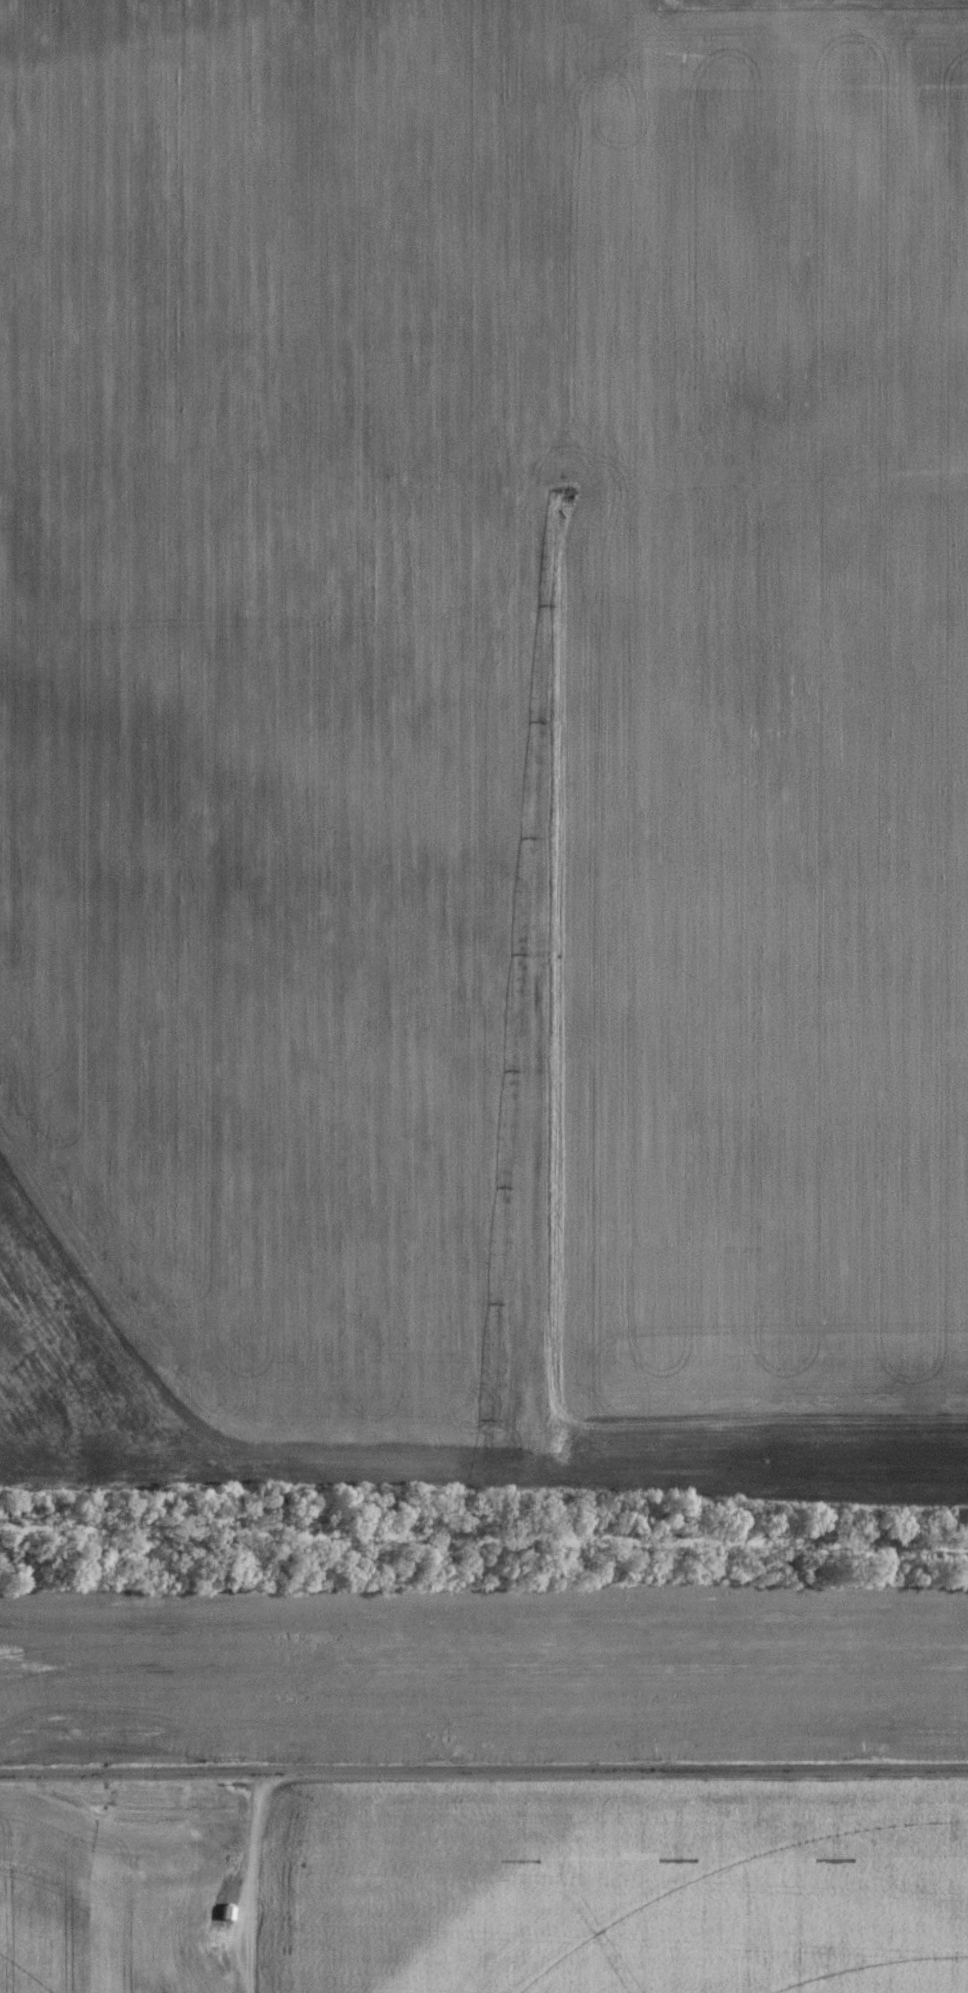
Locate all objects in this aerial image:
road: (484, 1791)

